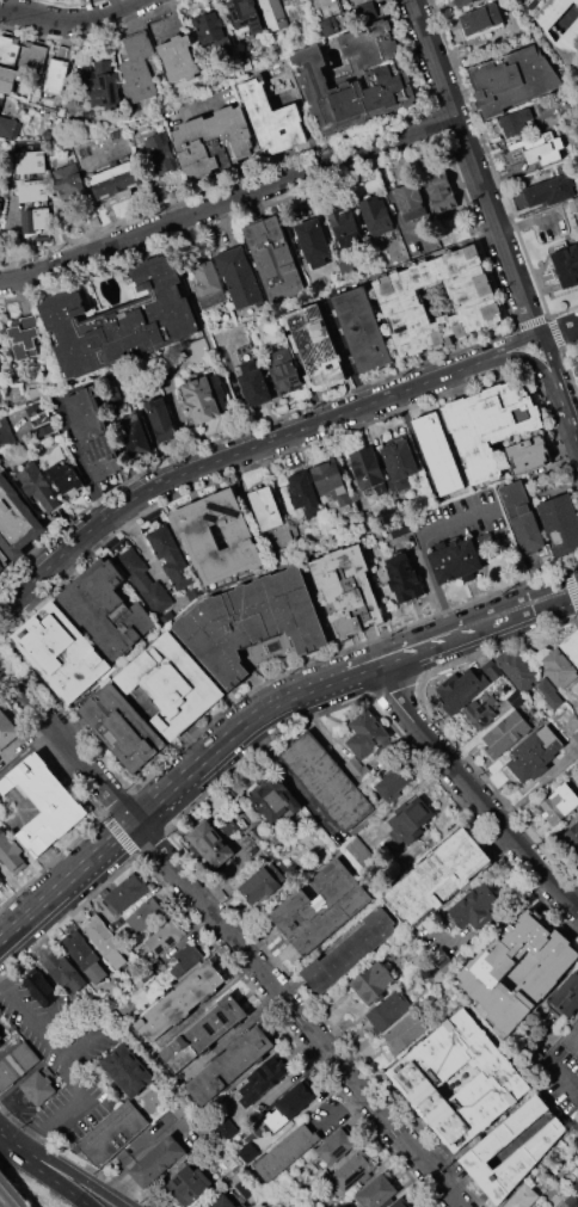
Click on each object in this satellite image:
building: (55, 0)
building: (59, 0)
building: (315, 0)
building: (460, 1)
road: (70, 4)
building: (364, 8)
road: (25, 12)
building: (272, 13)
building: (245, 14)
road: (72, 18)
building: (481, 19)
road: (176, 23)
building: (328, 26)
building: (561, 26)
building: (210, 27)
road: (90, 36)
building: (8, 47)
building: (33, 57)
building: (179, 57)
road: (192, 61)
building: (577, 67)
building: (137, 69)
building: (56, 75)
building: (387, 75)
building: (8, 79)
building: (514, 80)
building: (104, 84)
road: (197, 101)
building: (271, 119)
building: (517, 121)
building: (8, 125)
building: (47, 134)
building: (214, 142)
building: (534, 149)
building: (160, 154)
building: (29, 160)
road: (475, 167)
building: (112, 172)
building: (67, 175)
building: (117, 184)
building: (549, 191)
building: (158, 192)
building: (441, 192)
building: (519, 199)
building: (0, 201)
building: (410, 201)
road: (229, 202)
building: (32, 205)
road: (392, 205)
building: (376, 215)
road: (525, 217)
building: (88, 221)
building: (345, 227)
building: (313, 242)
building: (275, 260)
building: (567, 265)
building: (239, 278)
building: (207, 284)
building: (474, 301)
building: (119, 321)
building: (362, 328)
road: (560, 333)
building: (23, 335)
road: (210, 338)
road: (518, 341)
building: (314, 346)
building: (199, 349)
building: (245, 352)
road: (549, 359)
building: (247, 364)
road: (533, 364)
building: (577, 368)
building: (284, 370)
building: (109, 387)
building: (217, 387)
building: (254, 387)
building: (14, 394)
building: (199, 400)
road: (562, 400)
building: (160, 418)
building: (41, 419)
building: (488, 427)
road: (573, 427)
building: (5, 433)
building: (93, 433)
building: (135, 435)
building: (439, 455)
building: (528, 455)
road: (234, 458)
building: (399, 463)
building: (368, 469)
building: (64, 476)
building: (331, 482)
building: (37, 487)
building: (303, 494)
building: (266, 507)
building: (522, 517)
building: (17, 521)
building: (560, 523)
building: (216, 537)
road: (423, 547)
road: (148, 556)
building: (171, 558)
road: (305, 559)
building: (4, 561)
building: (455, 561)
building: (404, 575)
building: (142, 577)
building: (348, 591)
road: (521, 596)
building: (109, 611)
road: (524, 614)
building: (252, 622)
road: (419, 641)
fountain: (273, 646)
building: (571, 646)
building: (61, 652)
building: (517, 667)
building: (558, 667)
building: (491, 669)
building: (170, 685)
building: (460, 690)
building: (548, 694)
building: (490, 710)
building: (123, 726)
building: (6, 729)
building: (367, 733)
building: (505, 734)
building: (574, 735)
building: (533, 753)
building: (357, 768)
road: (172, 778)
building: (326, 780)
building: (395, 780)
road: (473, 781)
building: (272, 800)
building: (43, 802)
building: (558, 803)
building: (227, 819)
building: (410, 820)
building: (572, 835)
building: (210, 843)
building: (355, 850)
building: (11, 851)
road: (234, 867)
building: (437, 876)
building: (265, 880)
building: (1, 882)
building: (127, 892)
building: (320, 906)
building: (476, 906)
building: (111, 909)
building: (146, 916)
road: (232, 934)
building: (100, 935)
building: (165, 937)
building: (349, 953)
building: (84, 956)
building: (442, 960)
building: (178, 963)
building: (63, 969)
building: (486, 969)
building: (373, 981)
building: (39, 986)
building: (565, 996)
building: (179, 1002)
road: (55, 1010)
building: (387, 1011)
building: (402, 1033)
building: (202, 1035)
building: (0, 1037)
road: (84, 1040)
building: (572, 1042)
building: (362, 1045)
building: (16, 1064)
parking lot: (61, 1065)
building: (229, 1065)
building: (127, 1071)
road: (76, 1072)
road: (558, 1076)
building: (262, 1079)
building: (418, 1079)
building: (38, 1088)
building: (295, 1098)
road: (339, 1106)
building: (276, 1120)
building: (225, 1129)
building: (113, 1133)
road: (12, 1140)
building: (491, 1144)
building: (334, 1146)
road: (144, 1147)
building: (287, 1151)
building: (246, 1152)
building: (156, 1162)
building: (232, 1165)
building: (350, 1171)
road: (75, 1175)
road: (54, 1180)
building: (189, 1184)
building: (576, 1186)
building: (376, 1191)
building: (522, 1196)
building: (568, 1201)
building: (222, 1202)
building: (399, 1202)
building: (533, 1205)

